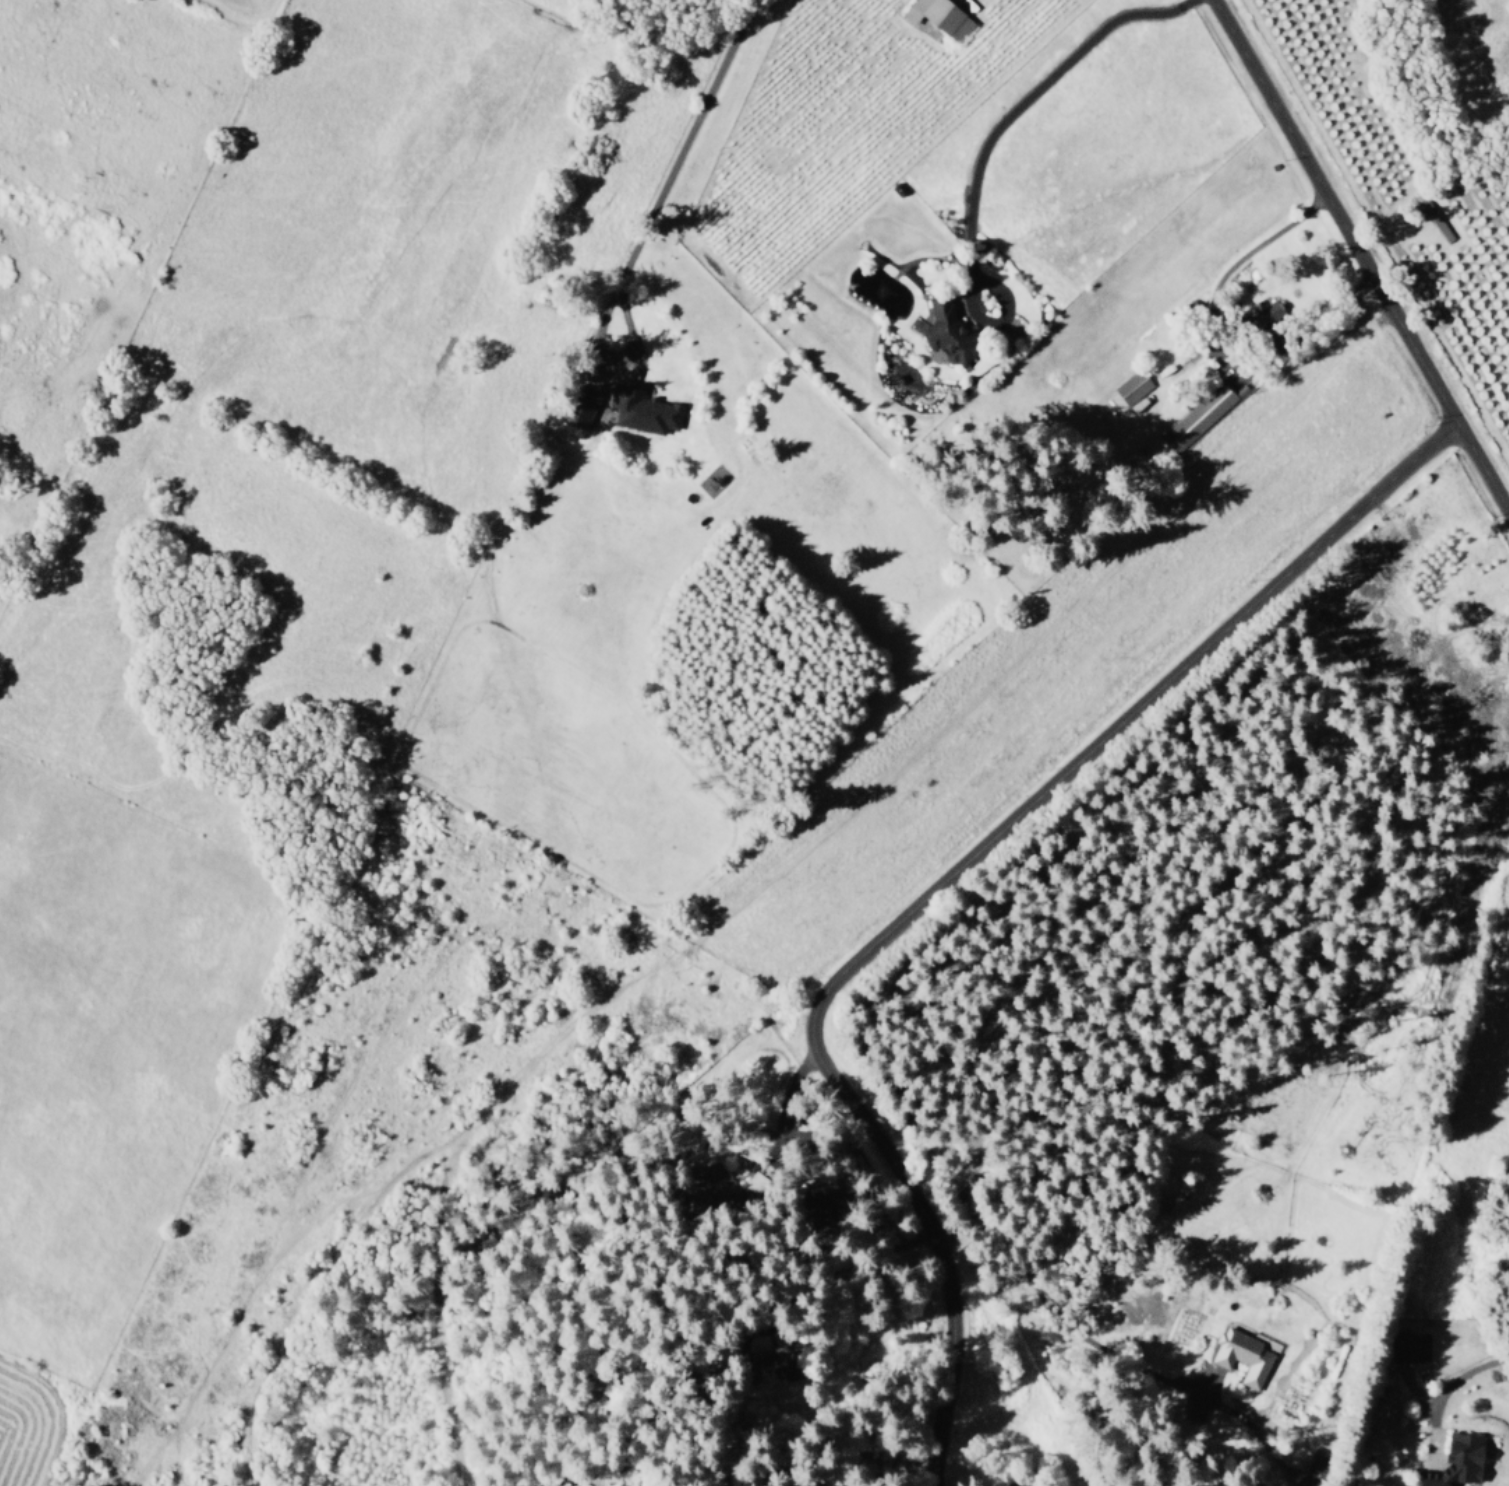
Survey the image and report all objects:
building: (938, 17)
road: (1359, 258)
building: (1264, 313)
building: (947, 332)
road: (1209, 352)
building: (1130, 387)
building: (578, 406)
building: (640, 409)
building: (1197, 417)
road: (941, 888)
building: (707, 1187)
building: (821, 1191)
building: (1408, 1347)
building: (1240, 1355)
building: (781, 1356)
building: (1455, 1461)
building: (1314, 1467)

